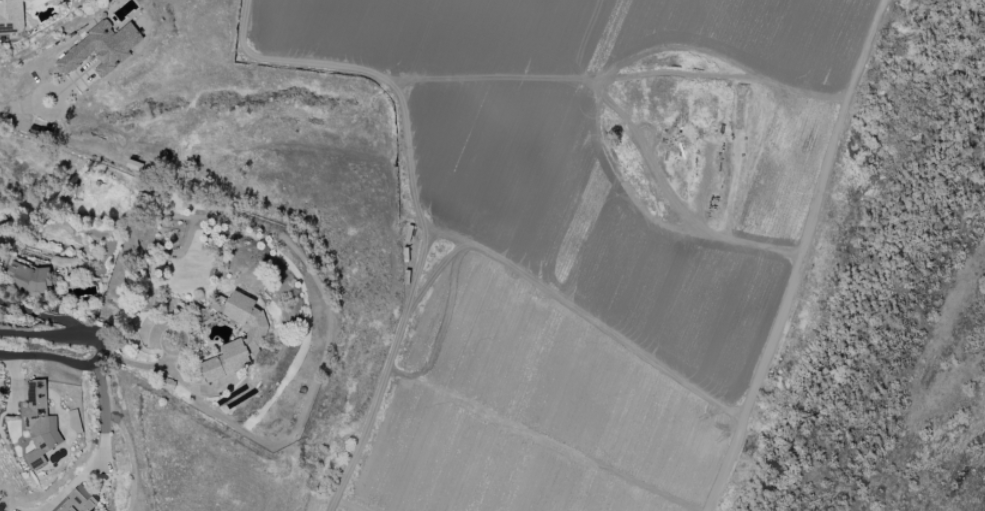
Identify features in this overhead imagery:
building: (10, 16)
building: (101, 48)
road: (25, 106)
road: (799, 247)
building: (26, 278)
park: (886, 298)
building: (238, 339)
road: (105, 348)
road: (753, 383)
building: (39, 424)
road: (104, 450)
building: (77, 501)

